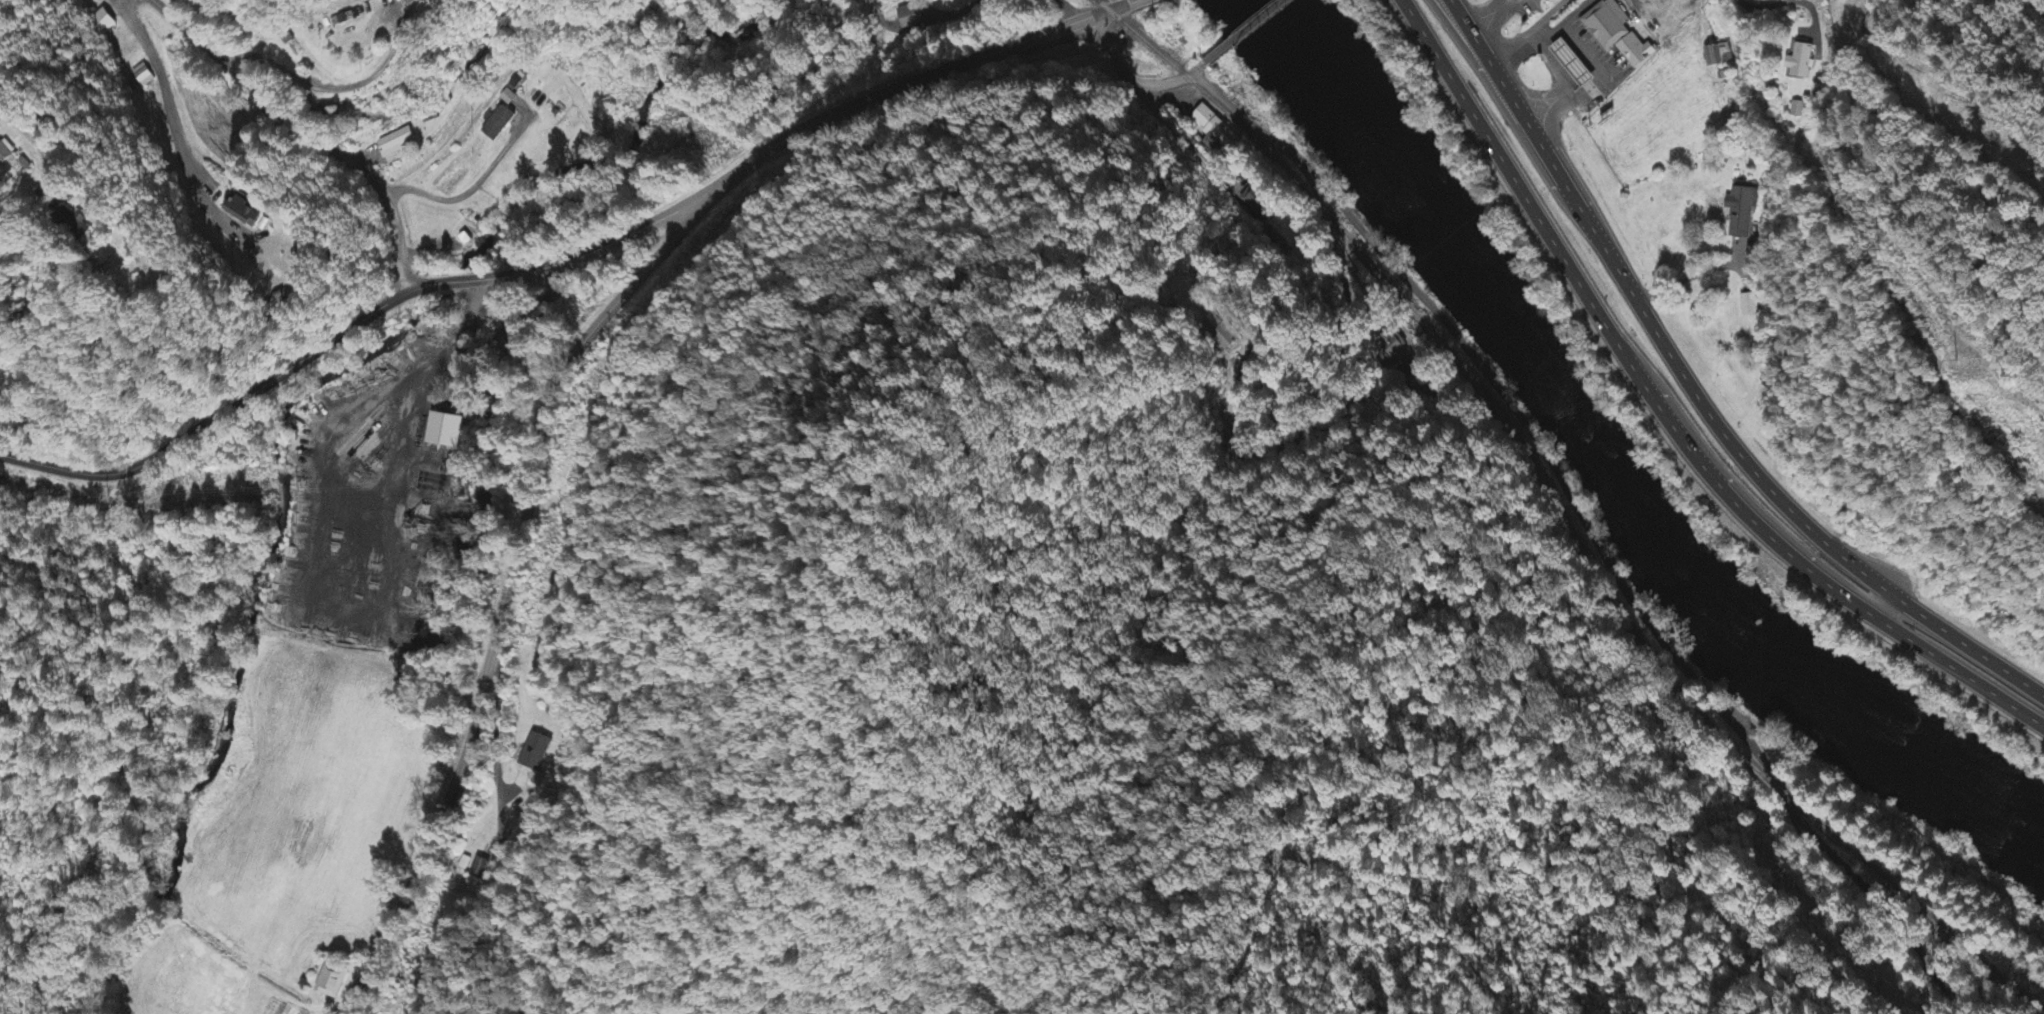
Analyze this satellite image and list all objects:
building: (411, 2)
building: (910, 17)
building: (102, 23)
road: (1527, 31)
road: (1244, 32)
building: (1619, 34)
building: (1718, 57)
road: (1472, 60)
building: (1801, 62)
building: (1577, 64)
road: (1196, 70)
road: (904, 82)
road: (265, 101)
building: (1799, 110)
road: (18, 123)
building: (499, 124)
building: (1215, 132)
building: (395, 144)
building: (14, 160)
building: (1255, 200)
building: (246, 213)
building: (1742, 213)
building: (74, 223)
road: (396, 240)
building: (1747, 306)
road: (340, 334)
building: (1390, 346)
road: (1697, 393)
road: (1666, 415)
building: (445, 431)
river: (1609, 464)
road: (1553, 472)
railway: (1546, 517)
road: (1802, 545)
road: (508, 596)
building: (535, 752)
road: (494, 851)
building: (479, 870)
building: (331, 982)

